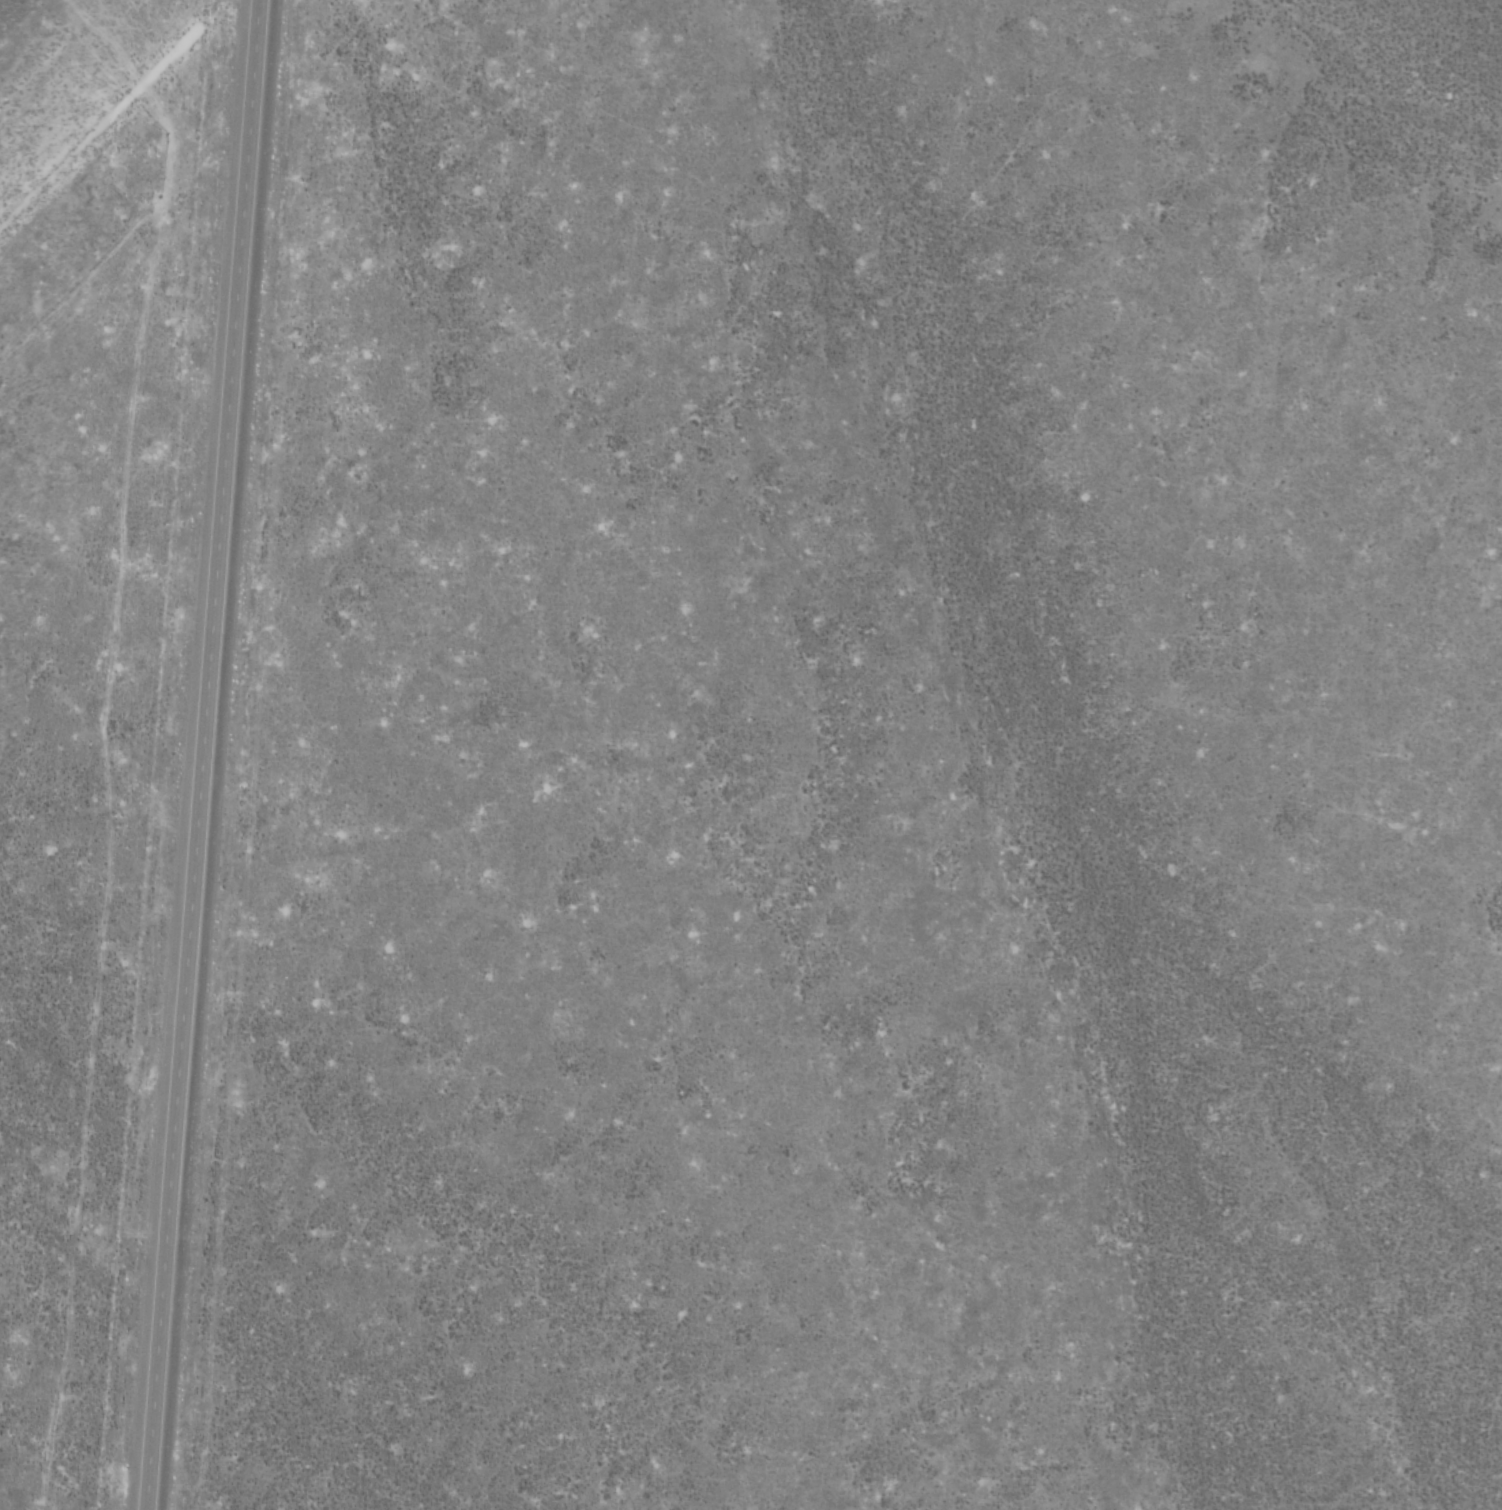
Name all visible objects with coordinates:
road: (200, 755)

